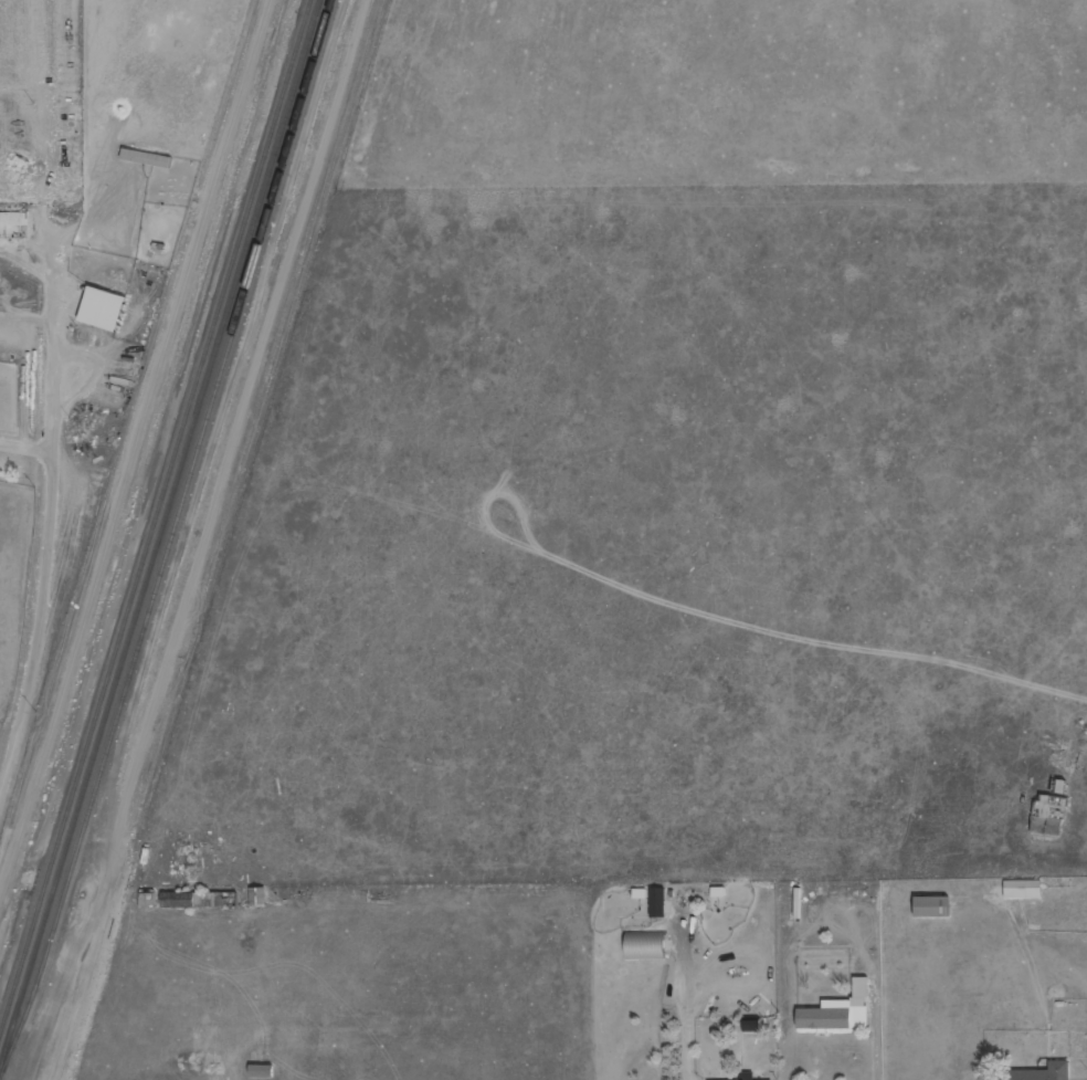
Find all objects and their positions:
building: (13, 218)
building: (104, 308)
railway: (157, 523)
railway: (162, 539)
railway: (173, 541)
building: (1049, 815)
building: (1023, 889)
building: (183, 900)
building: (658, 902)
building: (933, 906)
building: (647, 946)
building: (840, 1010)
building: (753, 1026)
building: (263, 1071)
building: (1043, 1072)
building: (748, 1076)

